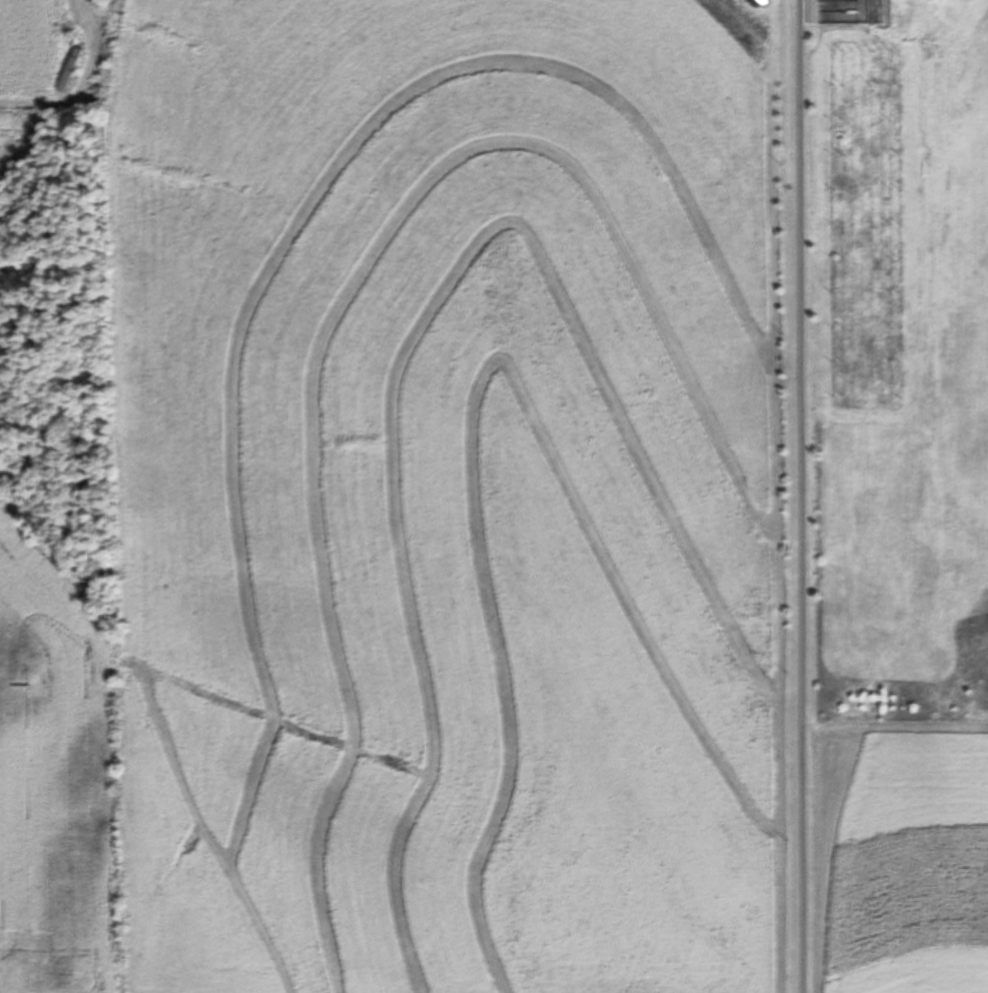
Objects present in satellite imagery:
building: (812, 11)
building: (73, 69)
road: (808, 496)

